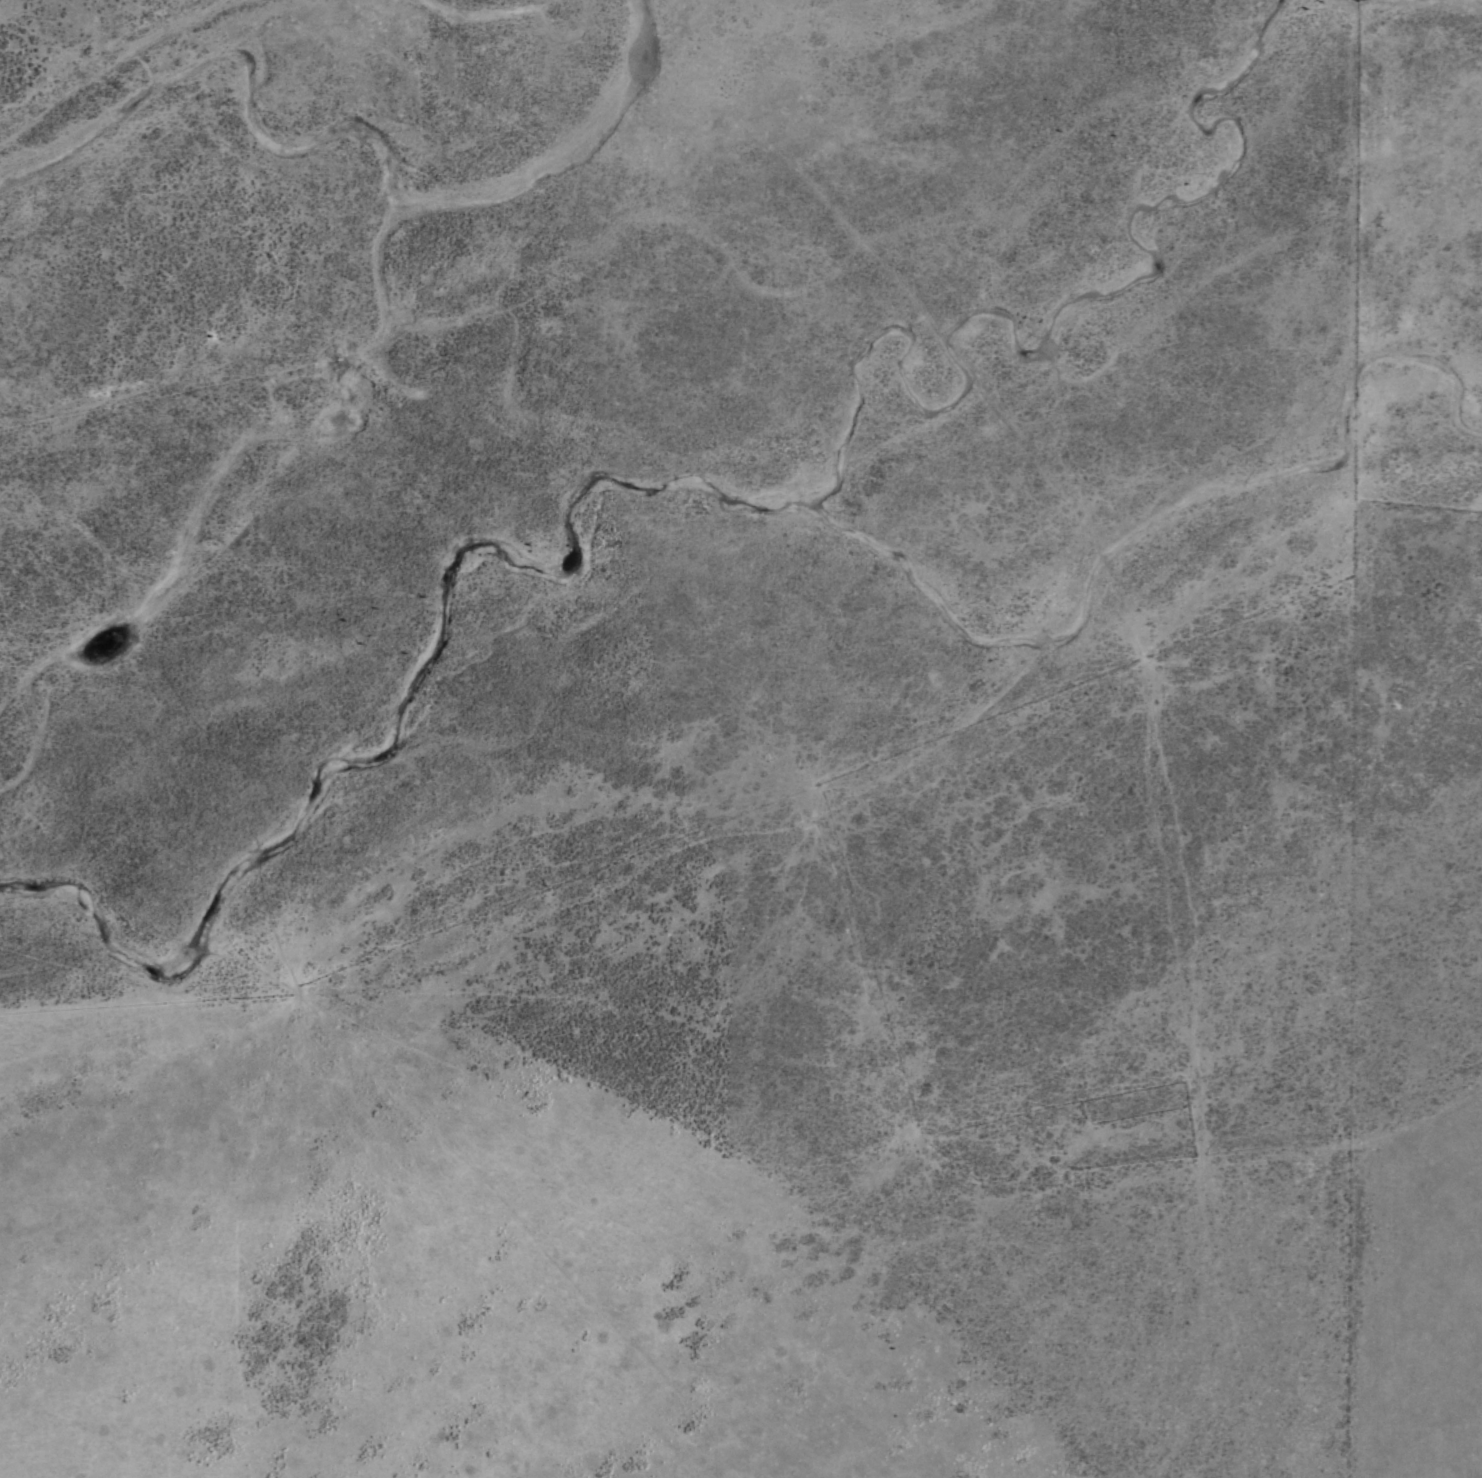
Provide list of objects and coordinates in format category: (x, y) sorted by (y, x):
crop: (741, 739)
road: (1058, 1187)

